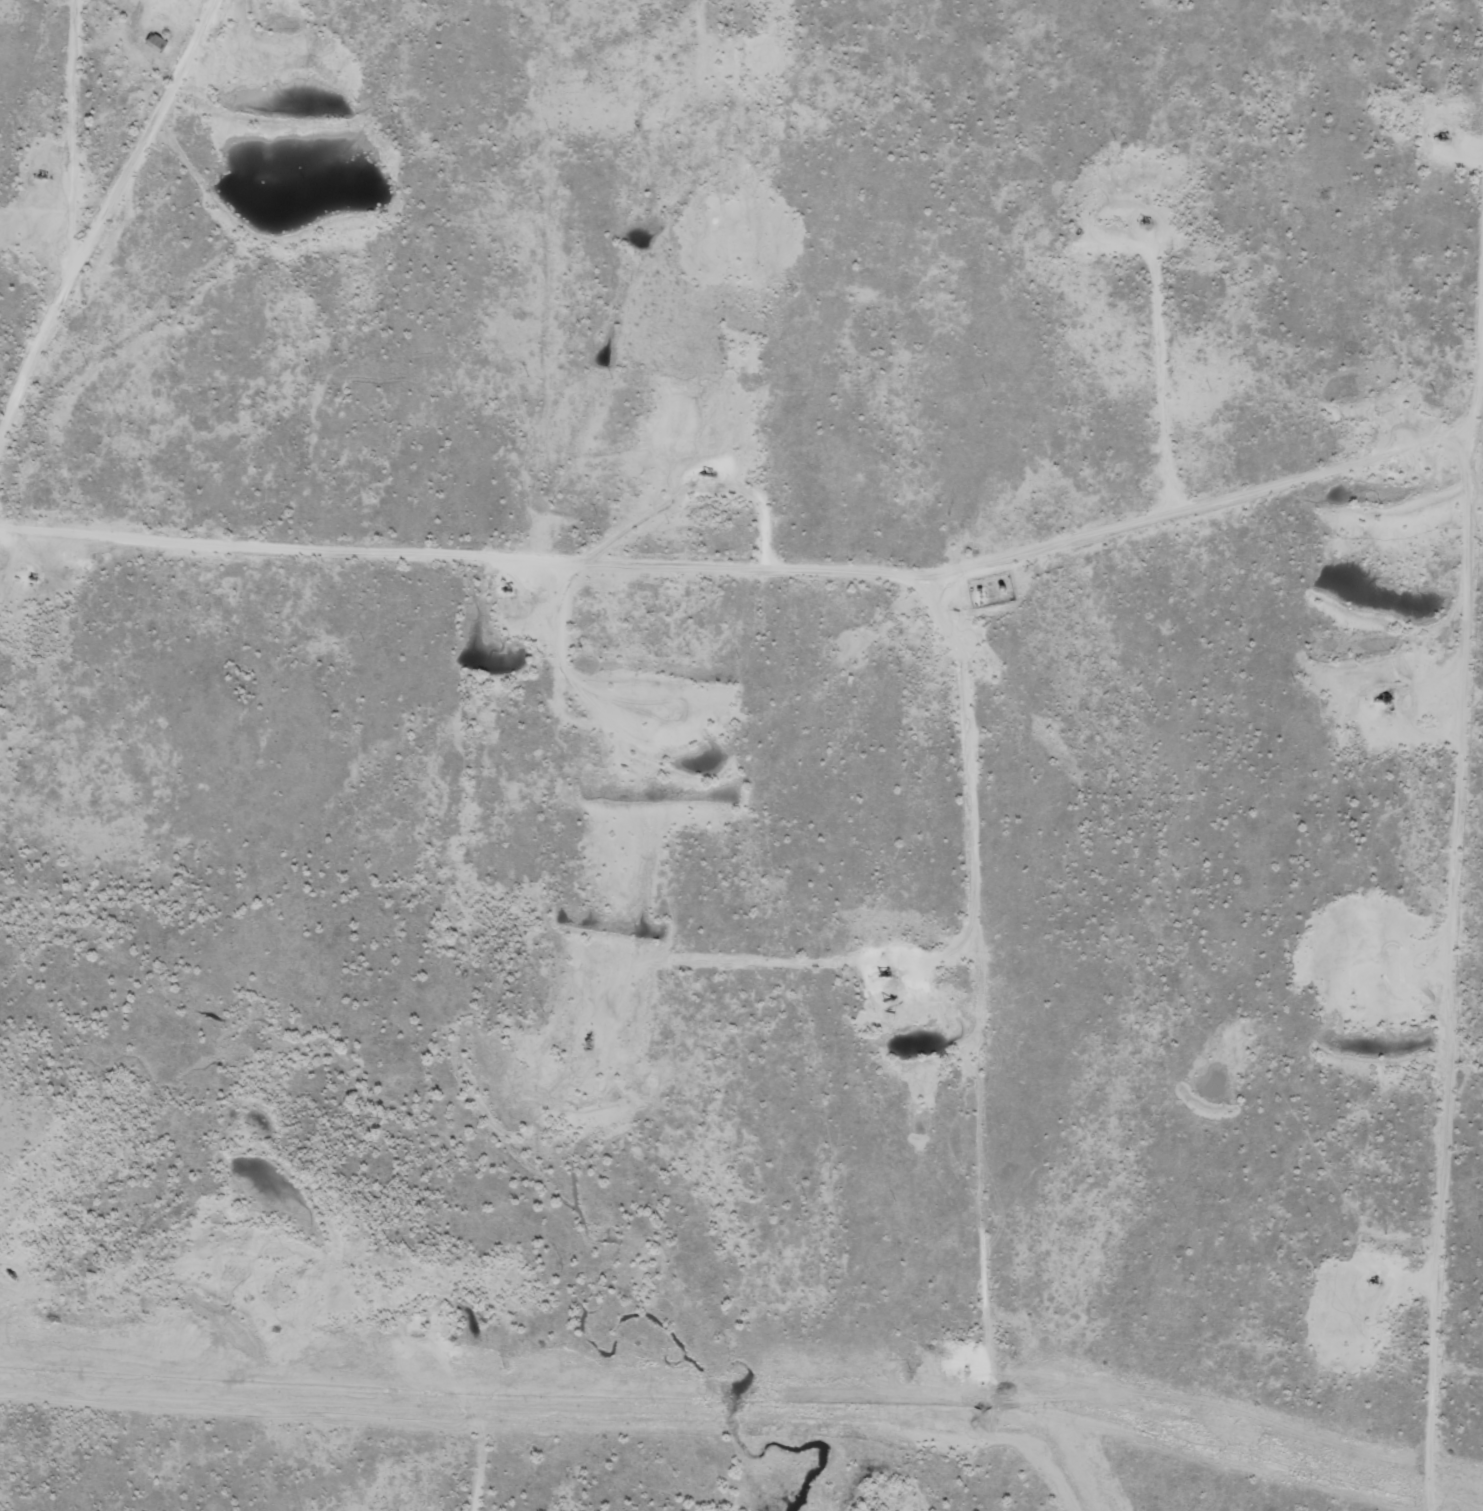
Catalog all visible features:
building: (157, 42)
road: (523, 162)
road: (20, 400)
road: (25, 489)
road: (503, 600)
road: (550, 754)
road: (1428, 755)
road: (978, 1054)
road: (34, 1282)
road: (28, 1336)
road: (142, 1414)

